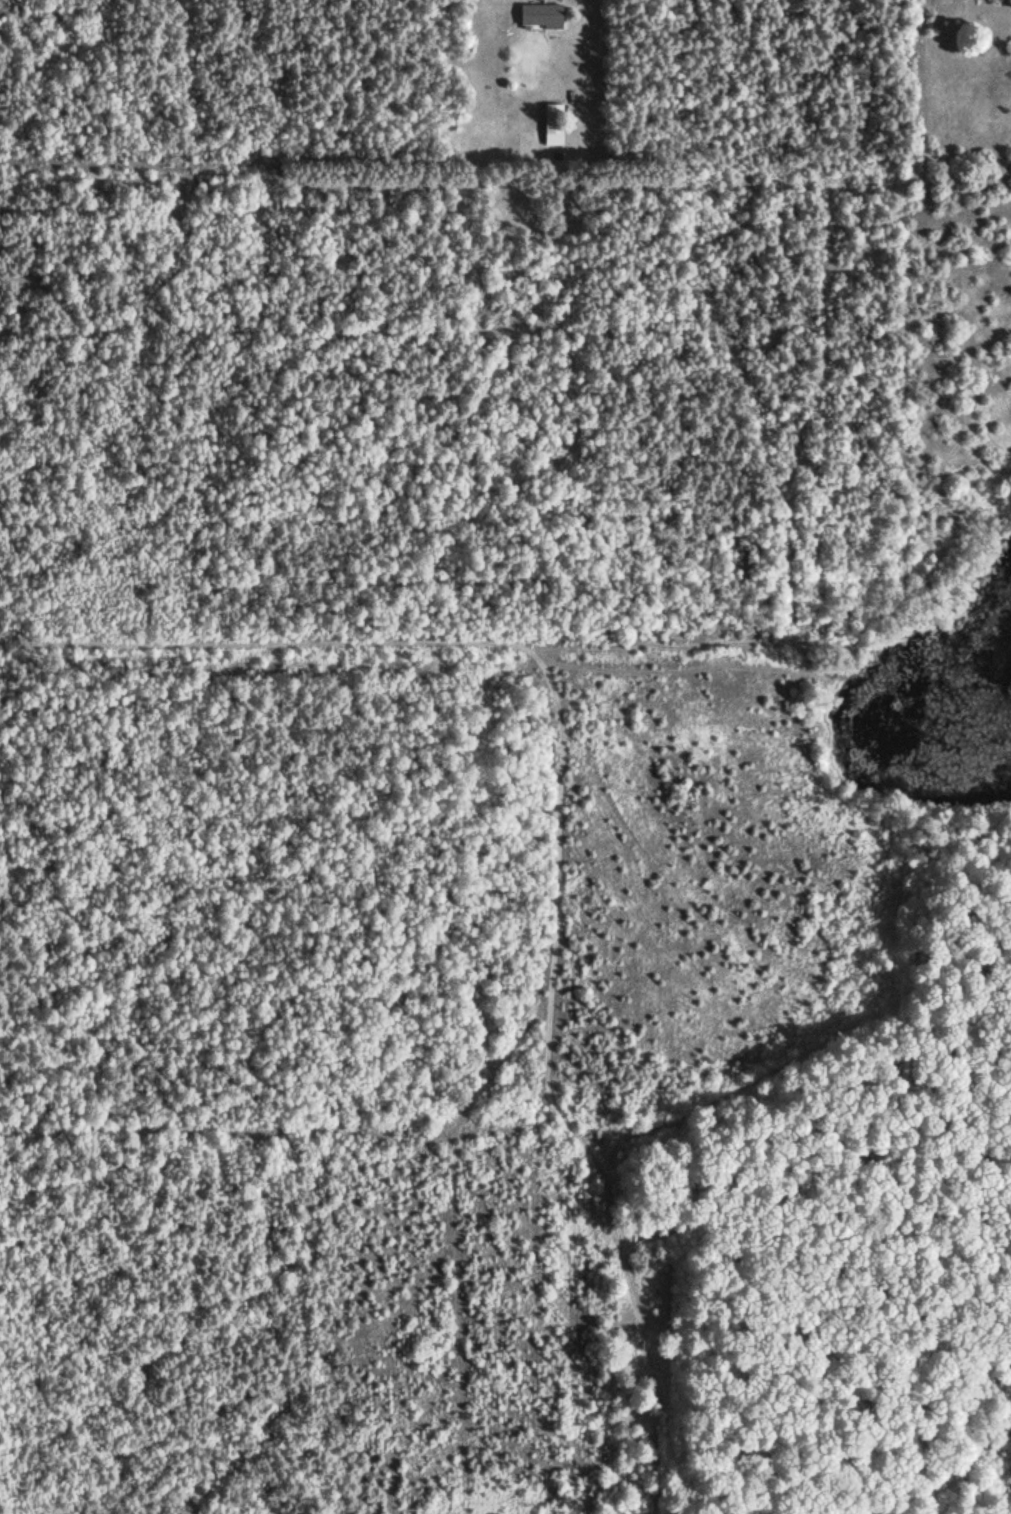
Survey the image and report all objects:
building: (539, 15)
road: (595, 64)
building: (552, 118)

